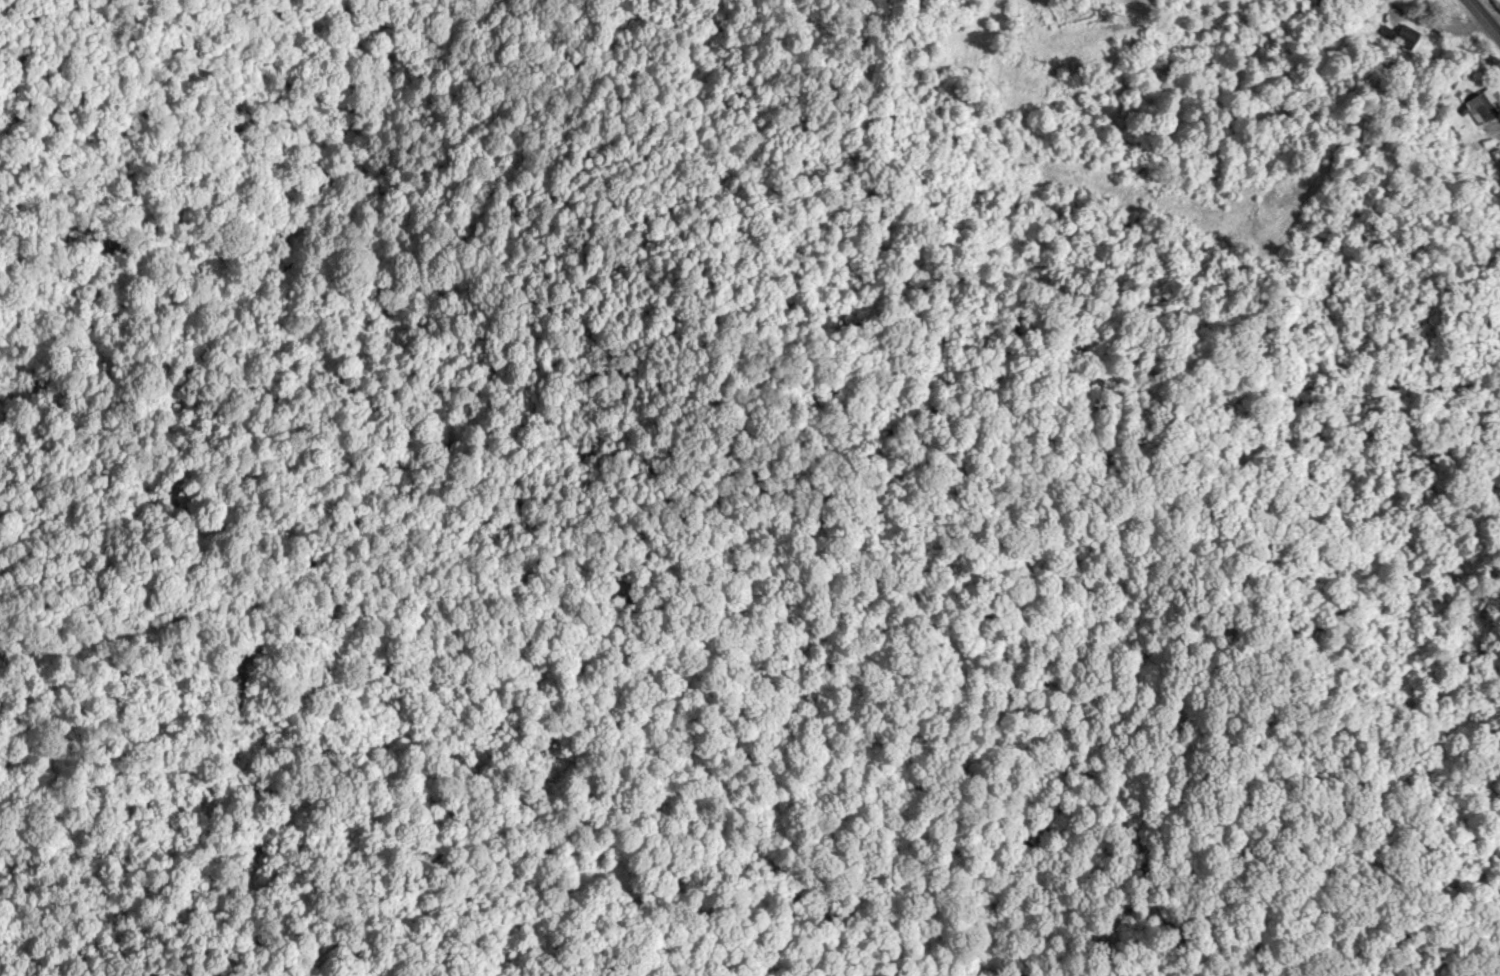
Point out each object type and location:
road: (1484, 18)
building: (1396, 35)
building: (1482, 105)

